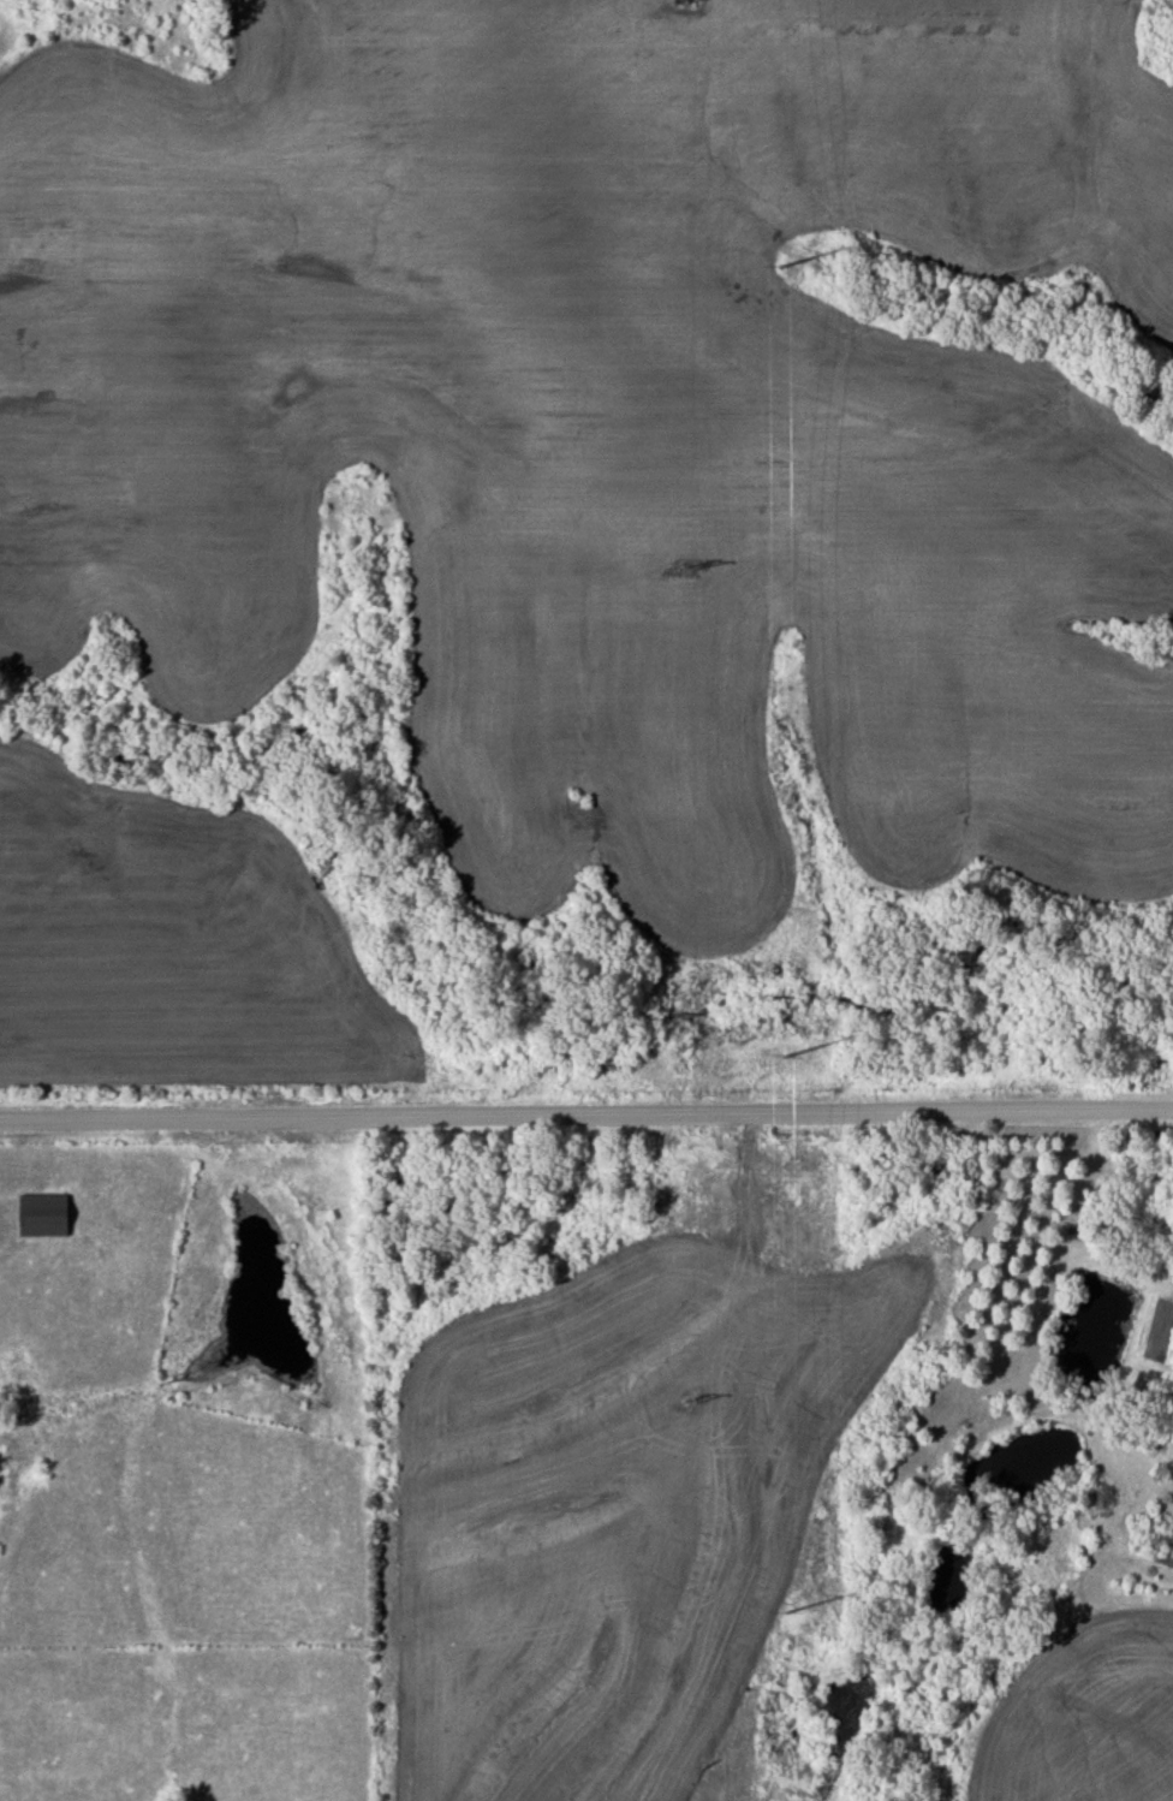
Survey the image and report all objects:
power tower: (677, 1)
power tower: (791, 261)
power tower: (677, 570)
power tower: (779, 1053)
road: (586, 1093)
building: (41, 1215)
power tower: (683, 1404)
power tower: (781, 1609)

